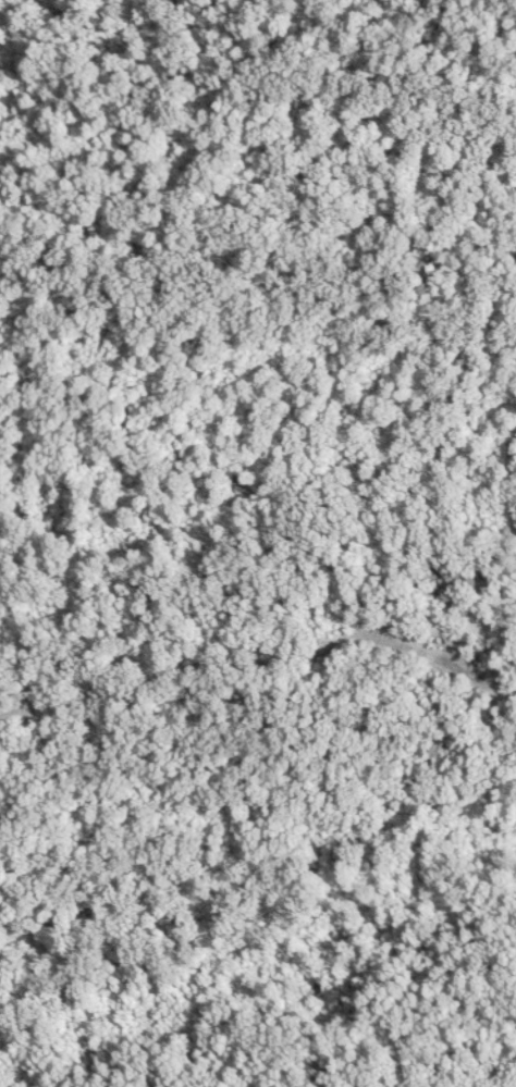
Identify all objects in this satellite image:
road: (255, 708)

